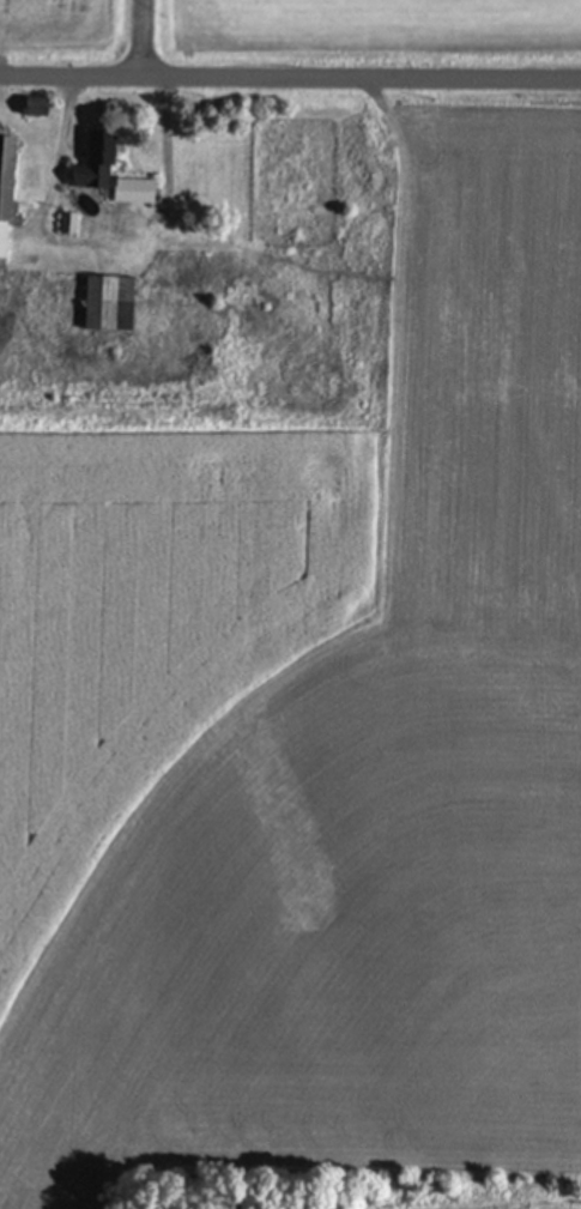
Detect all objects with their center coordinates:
road: (144, 40)
road: (290, 80)
building: (36, 111)
building: (110, 177)
building: (6, 198)
building: (108, 302)

